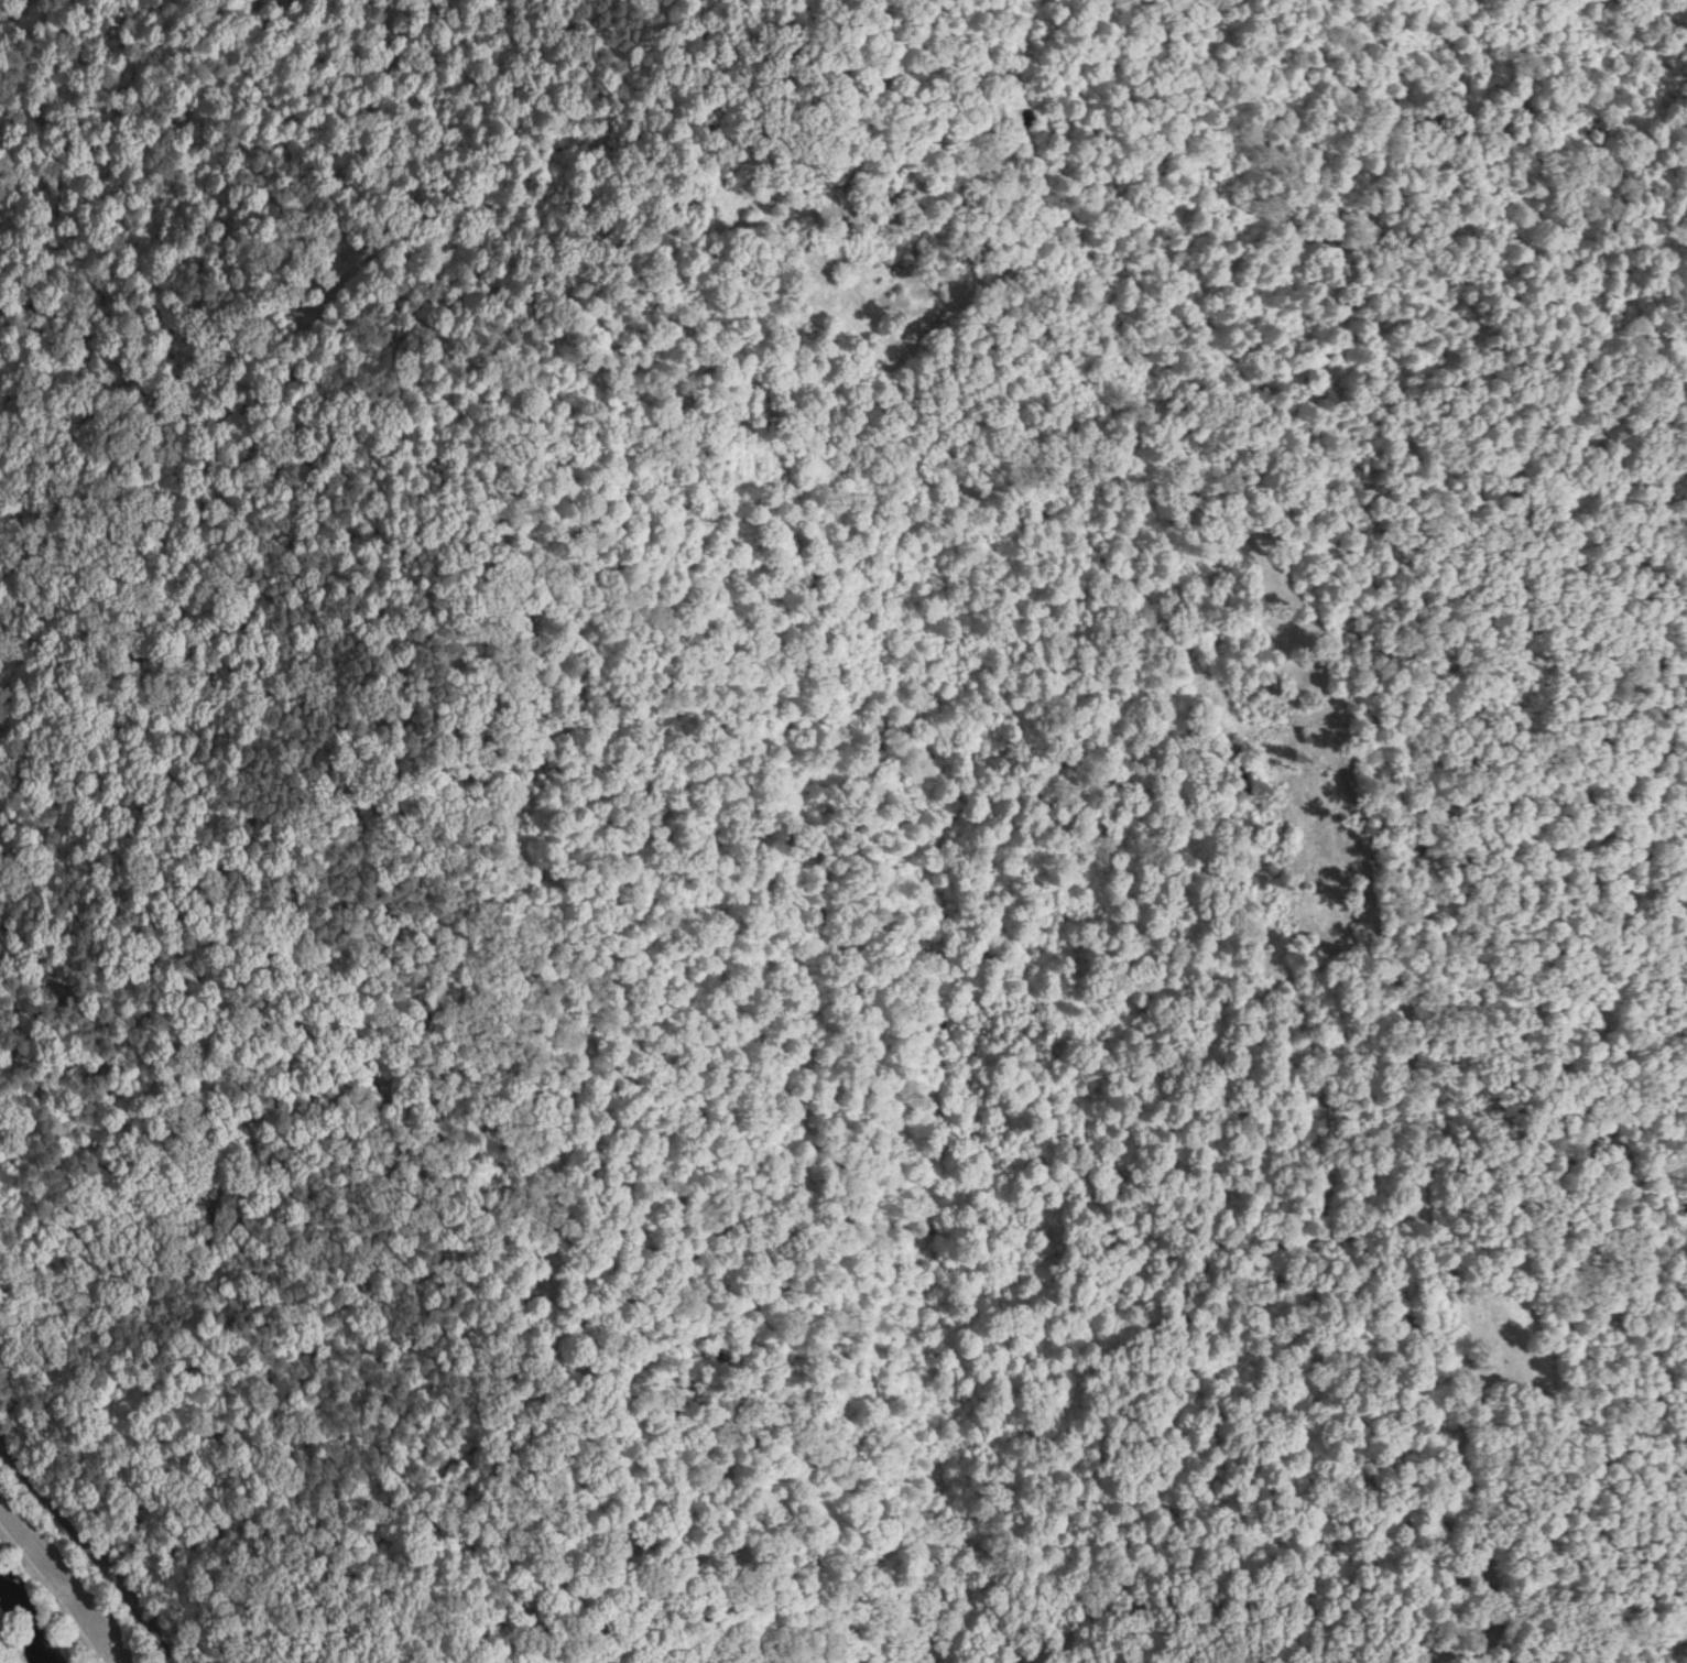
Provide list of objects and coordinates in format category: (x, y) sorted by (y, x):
road: (89, 1547)

